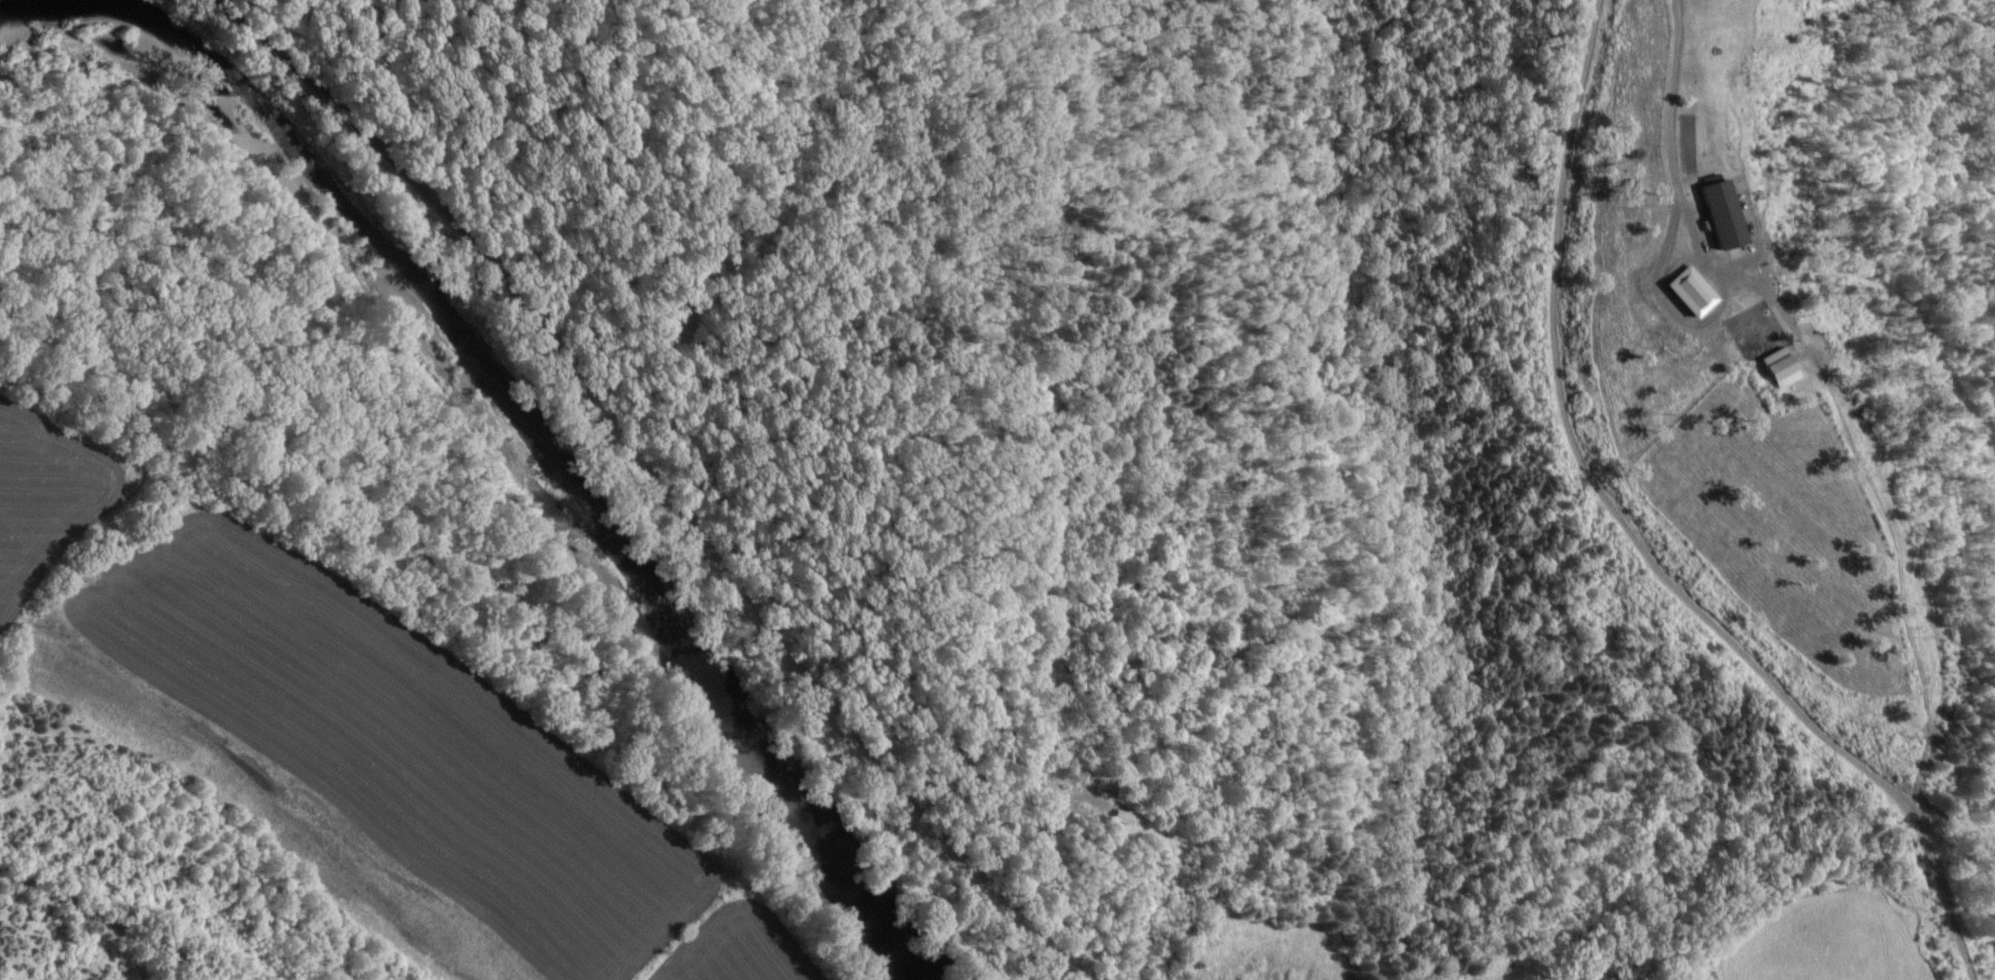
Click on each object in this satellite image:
building: (1718, 216)
building: (1688, 293)
building: (1777, 369)
river: (533, 465)
road: (629, 487)
crop: (296, 768)
road: (111, 921)
crop: (1842, 937)

